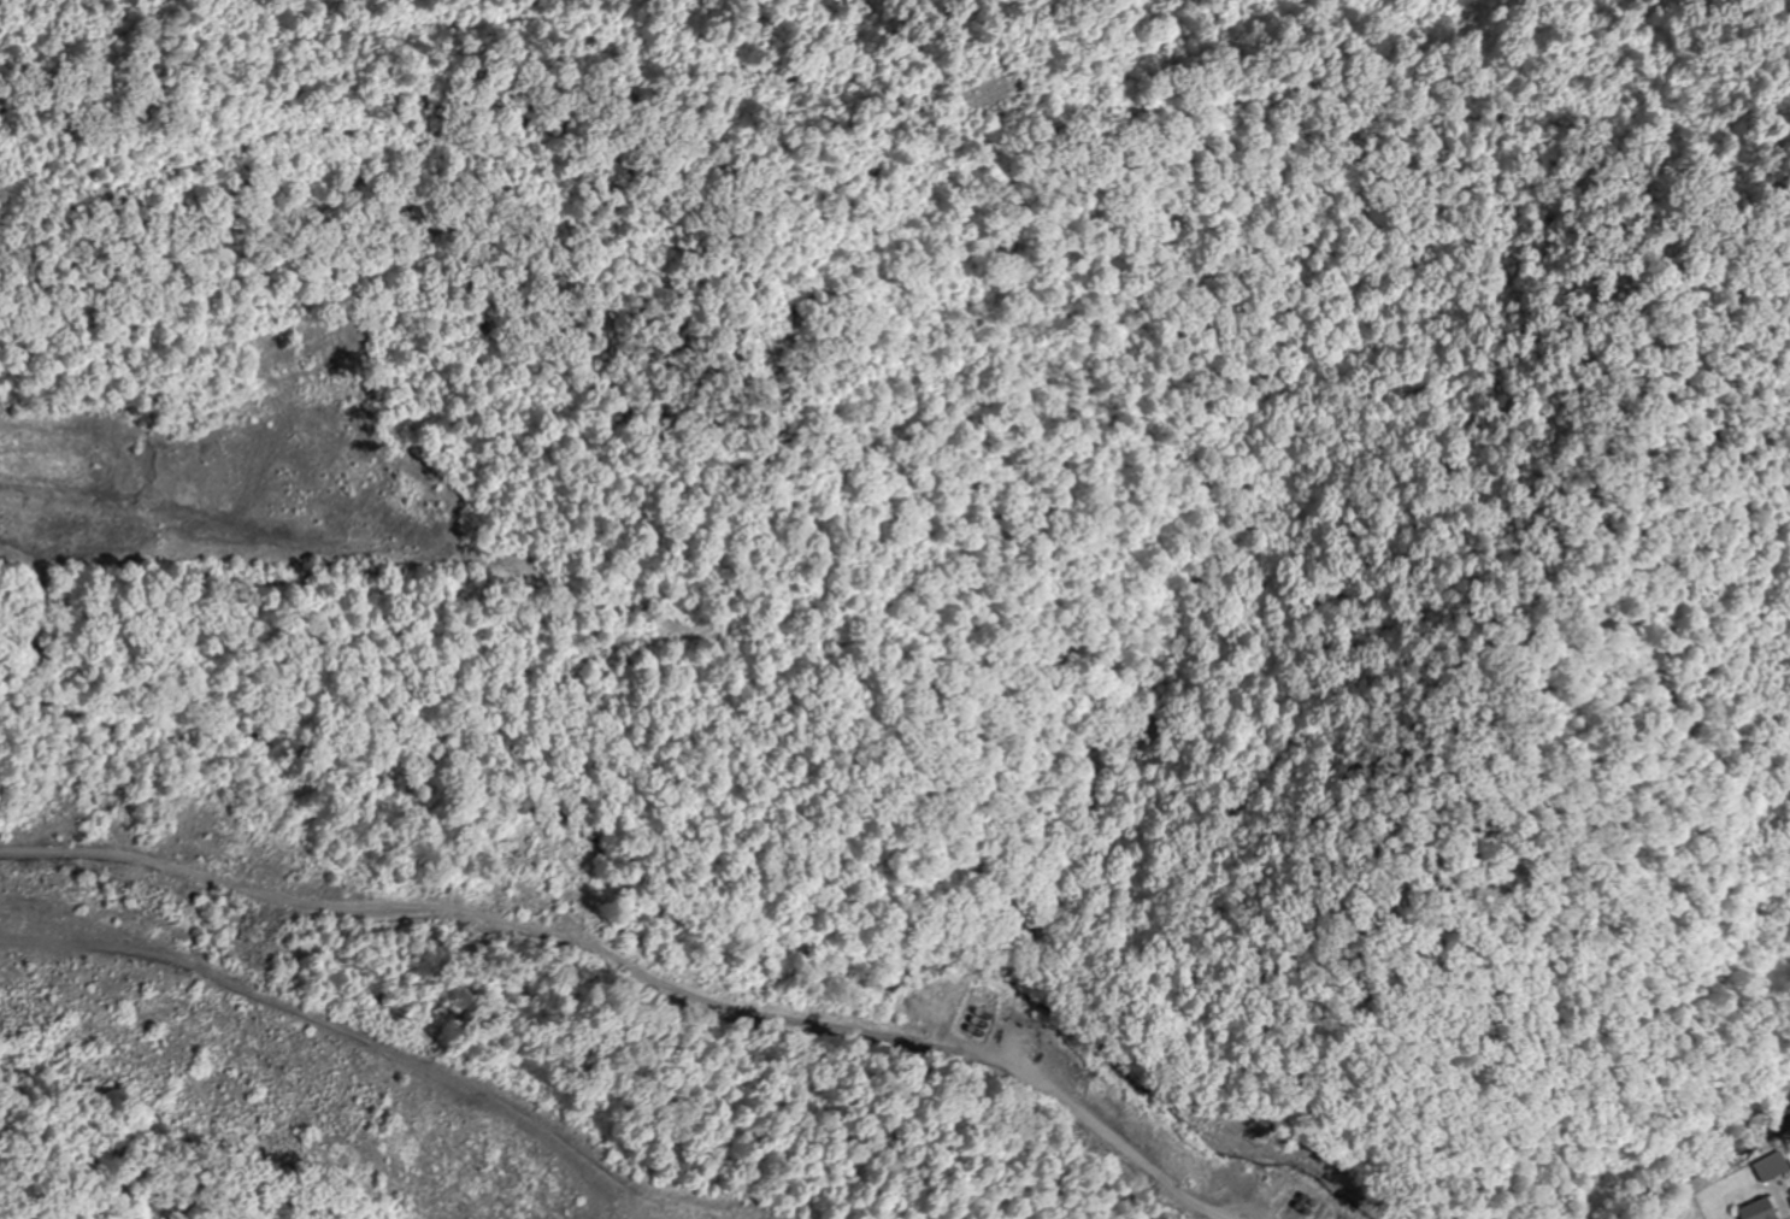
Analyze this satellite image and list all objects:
building: (1773, 1166)
building: (1759, 1209)

